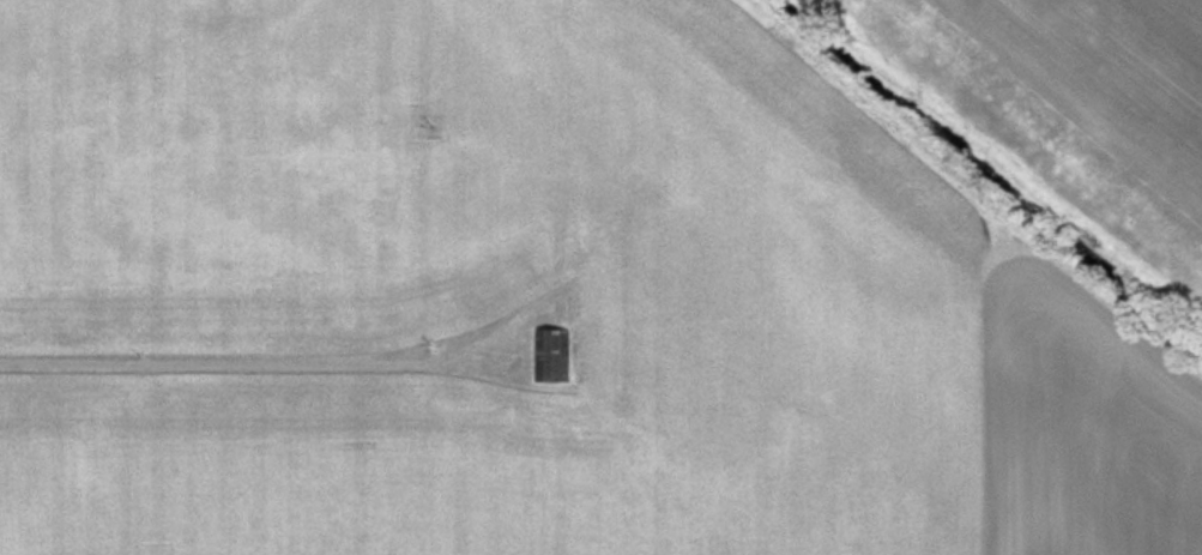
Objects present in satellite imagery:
building: (556, 355)
road: (282, 362)

